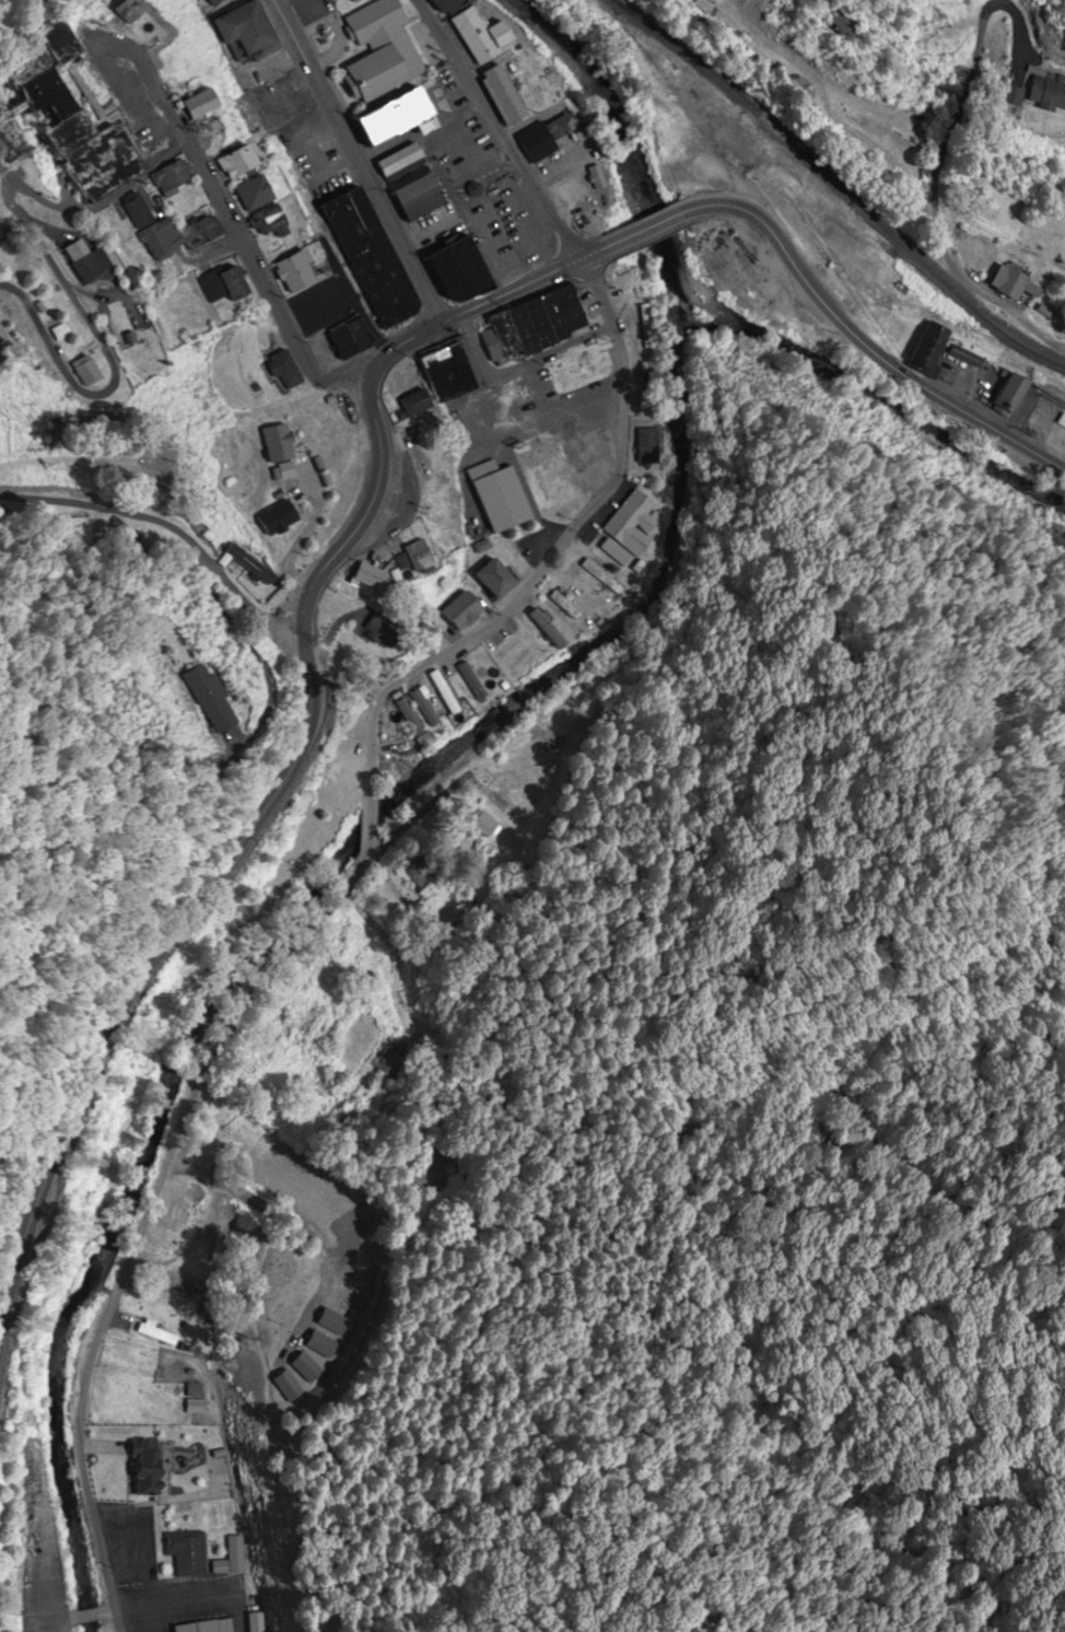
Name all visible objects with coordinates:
building: (353, 1)
building: (213, 2)
building: (448, 5)
road: (286, 8)
building: (130, 10)
building: (847, 24)
building: (246, 32)
building: (481, 35)
road: (336, 38)
building: (377, 49)
building: (1049, 93)
building: (504, 94)
road: (124, 100)
road: (118, 101)
building: (204, 105)
road: (21, 107)
building: (77, 117)
building: (396, 117)
road: (448, 124)
road: (498, 129)
building: (551, 131)
building: (12, 137)
building: (395, 159)
road: (356, 160)
building: (242, 161)
road: (48, 166)
building: (401, 170)
building: (171, 177)
flagpole: (502, 177)
building: (405, 178)
flagpole: (499, 179)
flagpole: (493, 183)
railway: (835, 185)
building: (475, 189)
building: (255, 194)
building: (416, 198)
road: (927, 198)
building: (137, 212)
road: (471, 217)
building: (268, 220)
road: (524, 221)
road: (232, 225)
building: (3, 229)
road: (644, 231)
building: (204, 234)
building: (161, 238)
road: (593, 254)
building: (368, 256)
building: (87, 261)
building: (456, 270)
building: (296, 271)
road: (58, 273)
building: (1010, 279)
building: (223, 284)
flagpole: (559, 285)
road: (511, 291)
road: (353, 294)
road: (316, 305)
building: (562, 311)
building: (539, 323)
building: (523, 329)
building: (506, 336)
building: (348, 337)
road: (398, 345)
road: (861, 345)
building: (929, 346)
building: (492, 347)
road: (518, 363)
building: (285, 369)
building: (96, 370)
building: (450, 372)
road: (531, 389)
building: (1010, 390)
building: (499, 406)
building: (1062, 421)
road: (503, 432)
building: (645, 444)
building: (498, 494)
building: (629, 520)
road: (173, 533)
building: (152, 540)
road: (555, 546)
building: (511, 551)
building: (417, 555)
building: (249, 564)
building: (490, 574)
building: (373, 578)
building: (563, 604)
building: (547, 628)
building: (384, 631)
building: (471, 679)
building: (444, 689)
building: (219, 692)
building: (425, 704)
building: (409, 714)
building: (350, 748)
river: (402, 791)
road: (365, 816)
road: (242, 840)
building: (328, 1199)
road: (139, 1216)
building: (157, 1332)
building: (150, 1462)
building: (186, 1549)
building: (229, 1557)
road: (91, 1614)
road: (66, 1620)
building: (207, 1625)
road: (61, 1627)

